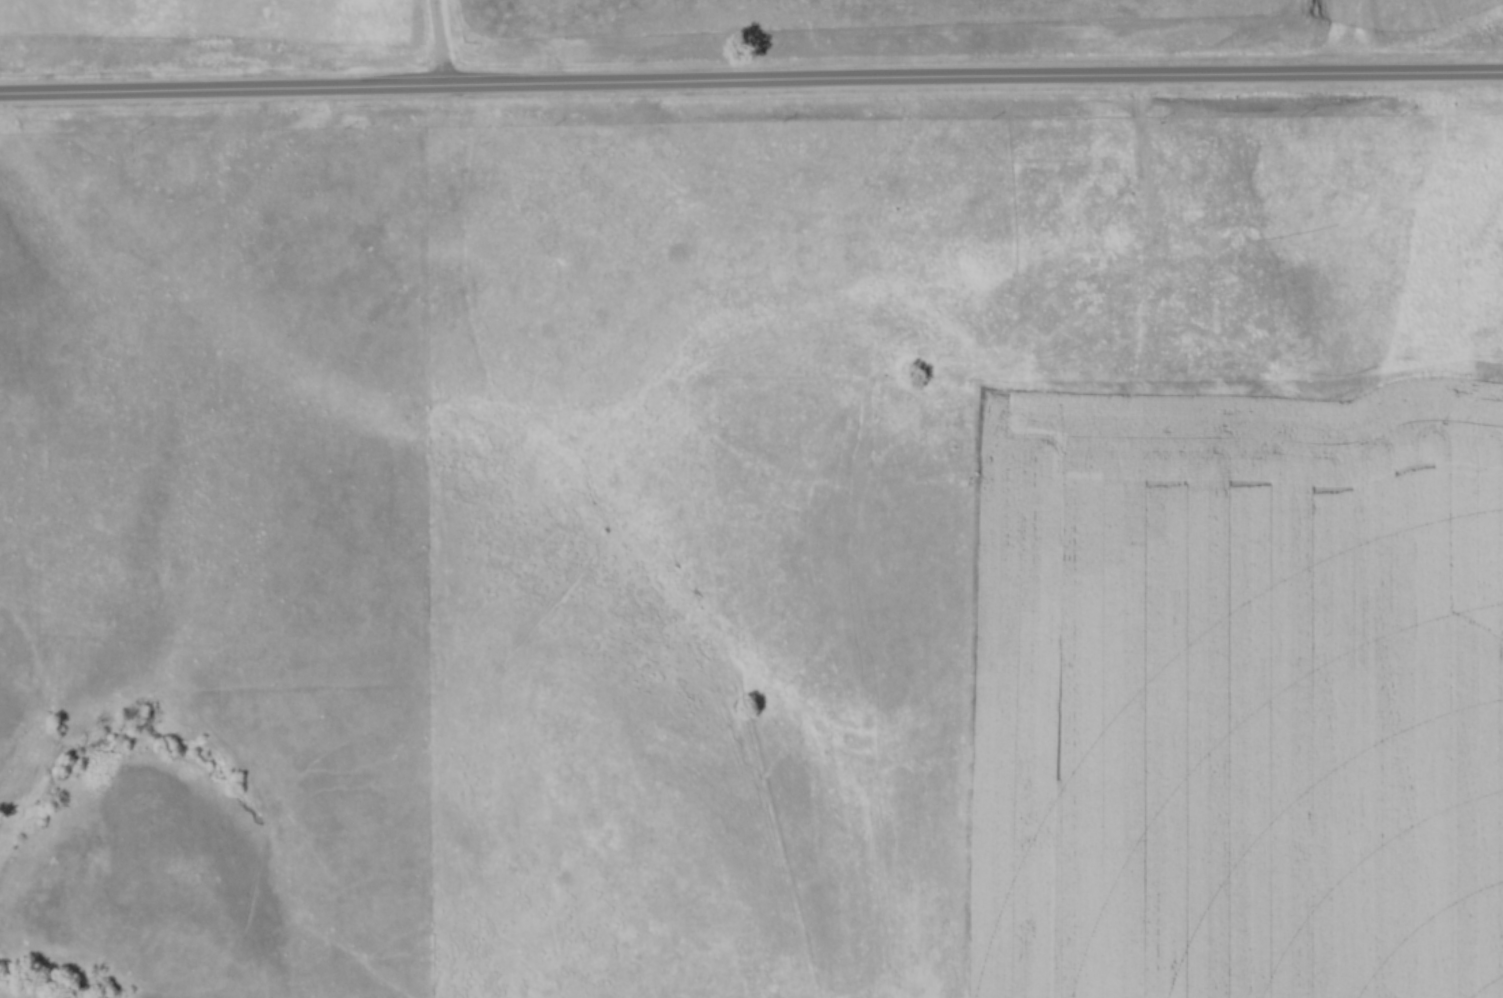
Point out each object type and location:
road: (441, 45)
road: (751, 86)

